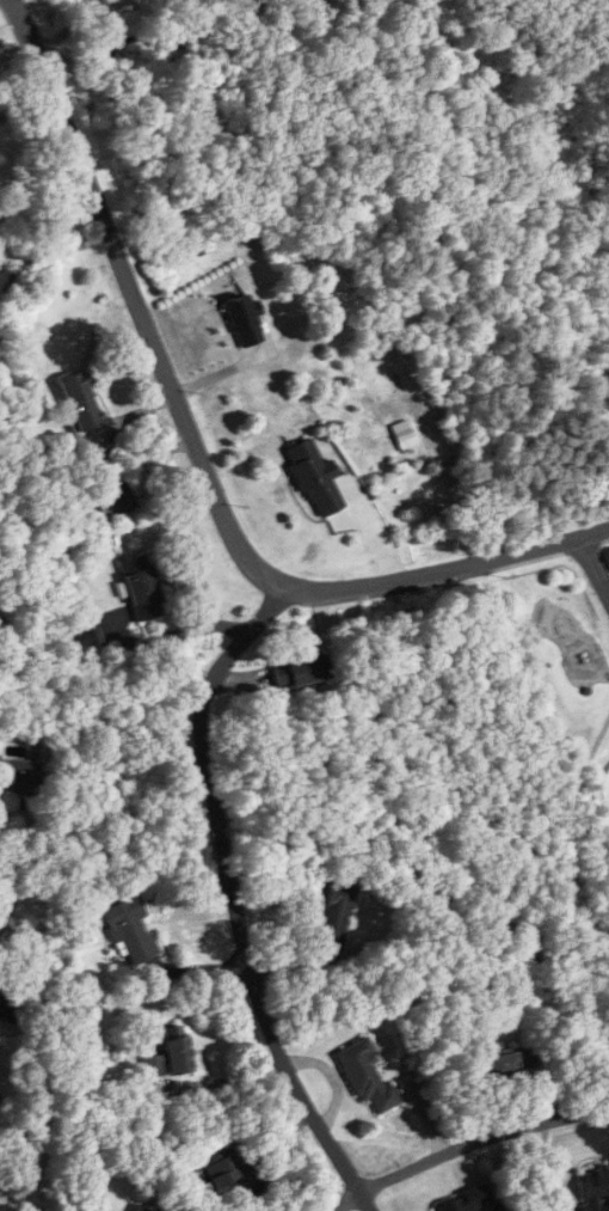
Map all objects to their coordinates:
building: (97, 2)
building: (244, 320)
building: (81, 402)
building: (101, 452)
road: (199, 454)
building: (315, 478)
building: (122, 497)
road: (595, 565)
building: (142, 587)
road: (182, 630)
building: (85, 638)
building: (300, 671)
road: (43, 687)
building: (20, 773)
road: (233, 899)
building: (334, 917)
building: (131, 930)
building: (11, 1002)
building: (171, 1054)
building: (506, 1062)
building: (367, 1076)
road: (467, 1144)
building: (224, 1167)
building: (595, 1188)

